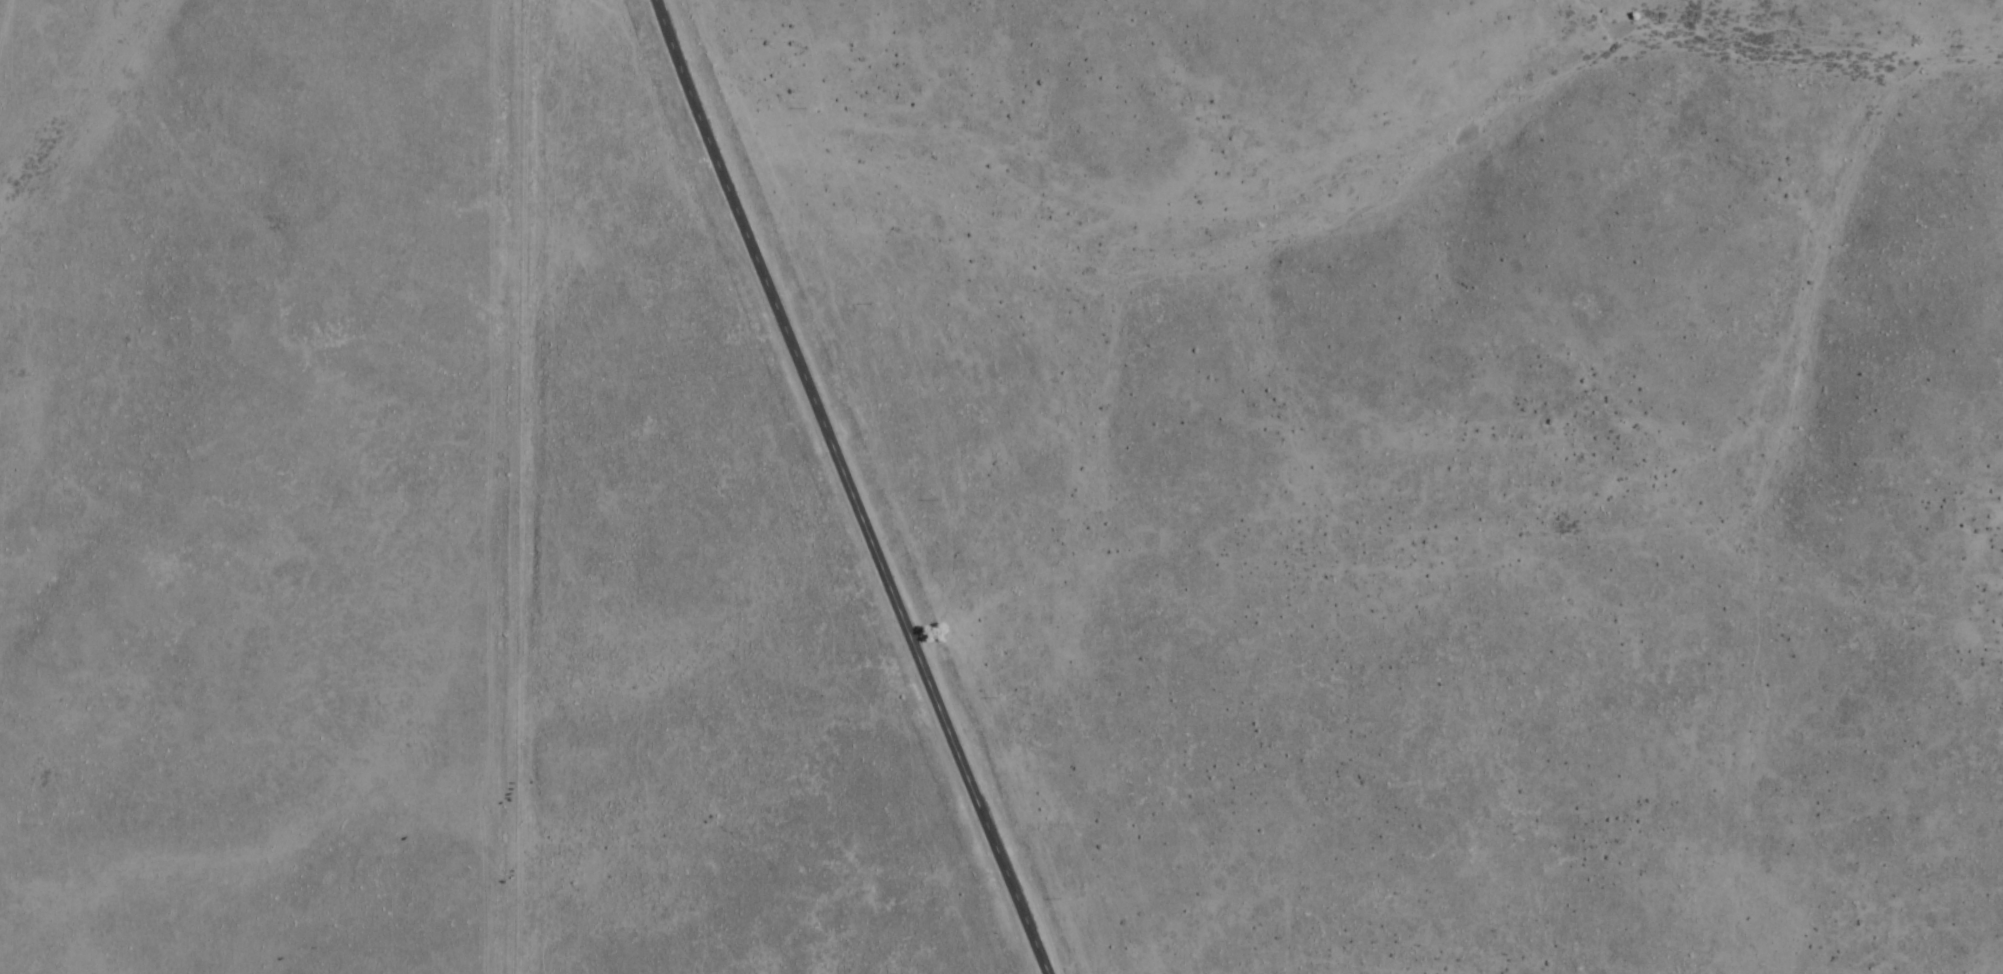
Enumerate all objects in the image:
road: (453, 487)
road: (846, 488)

